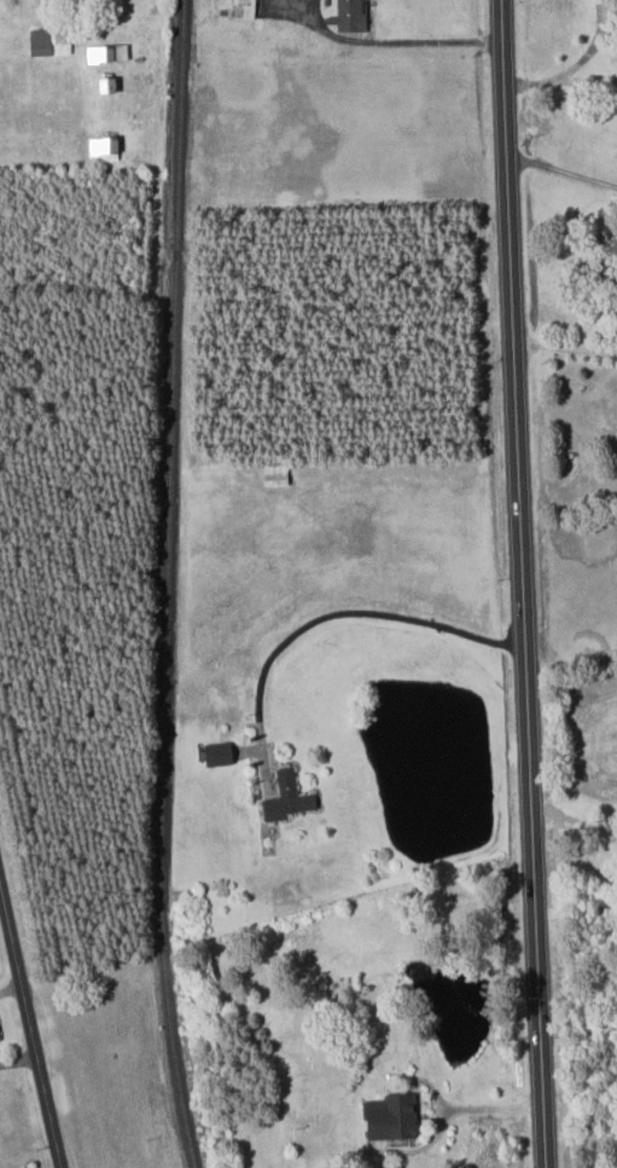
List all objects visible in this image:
building: (238, 8)
building: (350, 16)
building: (48, 41)
road: (394, 41)
building: (105, 53)
road: (574, 65)
building: (101, 149)
road: (560, 167)
road: (157, 242)
road: (564, 347)
building: (275, 474)
road: (522, 583)
railway: (168, 585)
road: (359, 612)
road: (571, 660)
building: (216, 752)
building: (286, 796)
road: (572, 823)
road: (11, 989)
road: (29, 1027)
road: (577, 1029)
road: (18, 1060)
road: (488, 1109)
road: (437, 1112)
building: (390, 1116)

